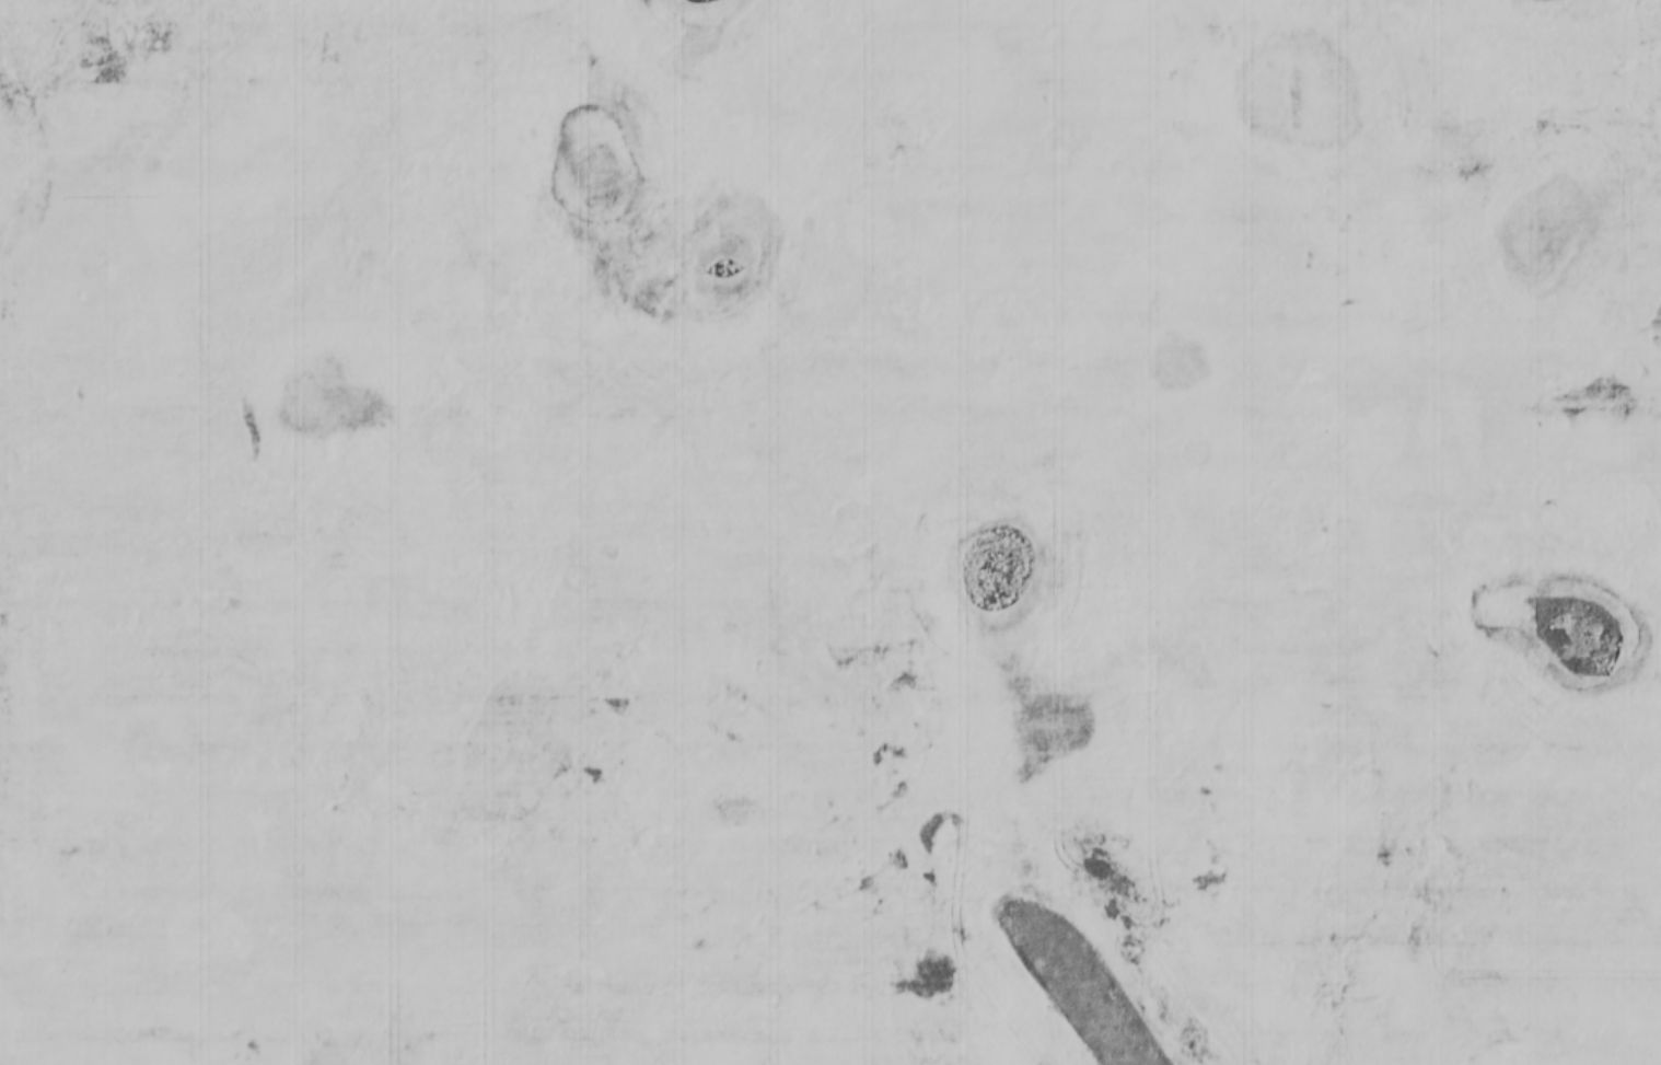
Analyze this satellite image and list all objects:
road: (1418, 245)

